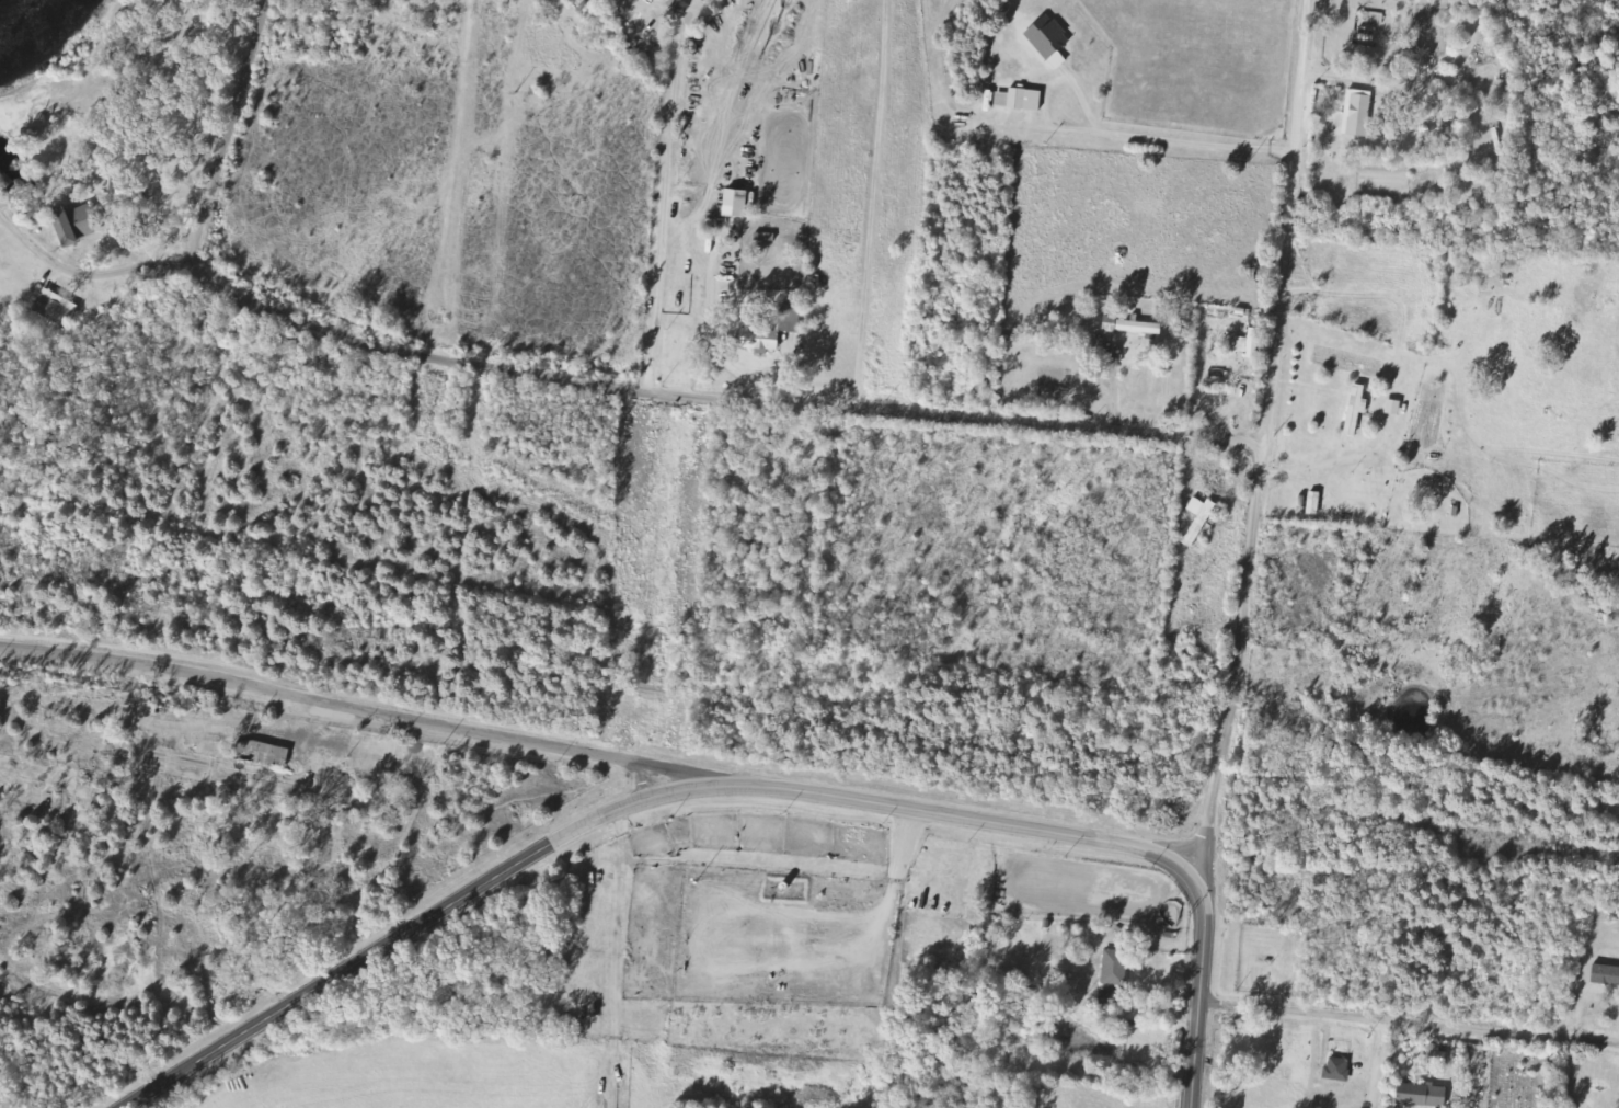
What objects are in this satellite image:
road: (1463, 12)
building: (1049, 37)
building: (1020, 100)
building: (1358, 113)
building: (128, 191)
road: (206, 195)
building: (737, 204)
road: (871, 204)
road: (661, 213)
building: (76, 224)
road: (79, 274)
building: (56, 308)
building: (1111, 324)
building: (1139, 328)
building: (772, 330)
building: (1249, 344)
road: (776, 402)
building: (1357, 410)
road: (1261, 439)
building: (1199, 519)
road: (354, 699)
railway: (809, 712)
building: (263, 753)
road: (622, 808)
building: (1116, 967)
building: (1606, 974)
road: (1197, 987)
road: (1408, 1023)
road: (1374, 1064)
building: (1339, 1070)
building: (1423, 1096)

